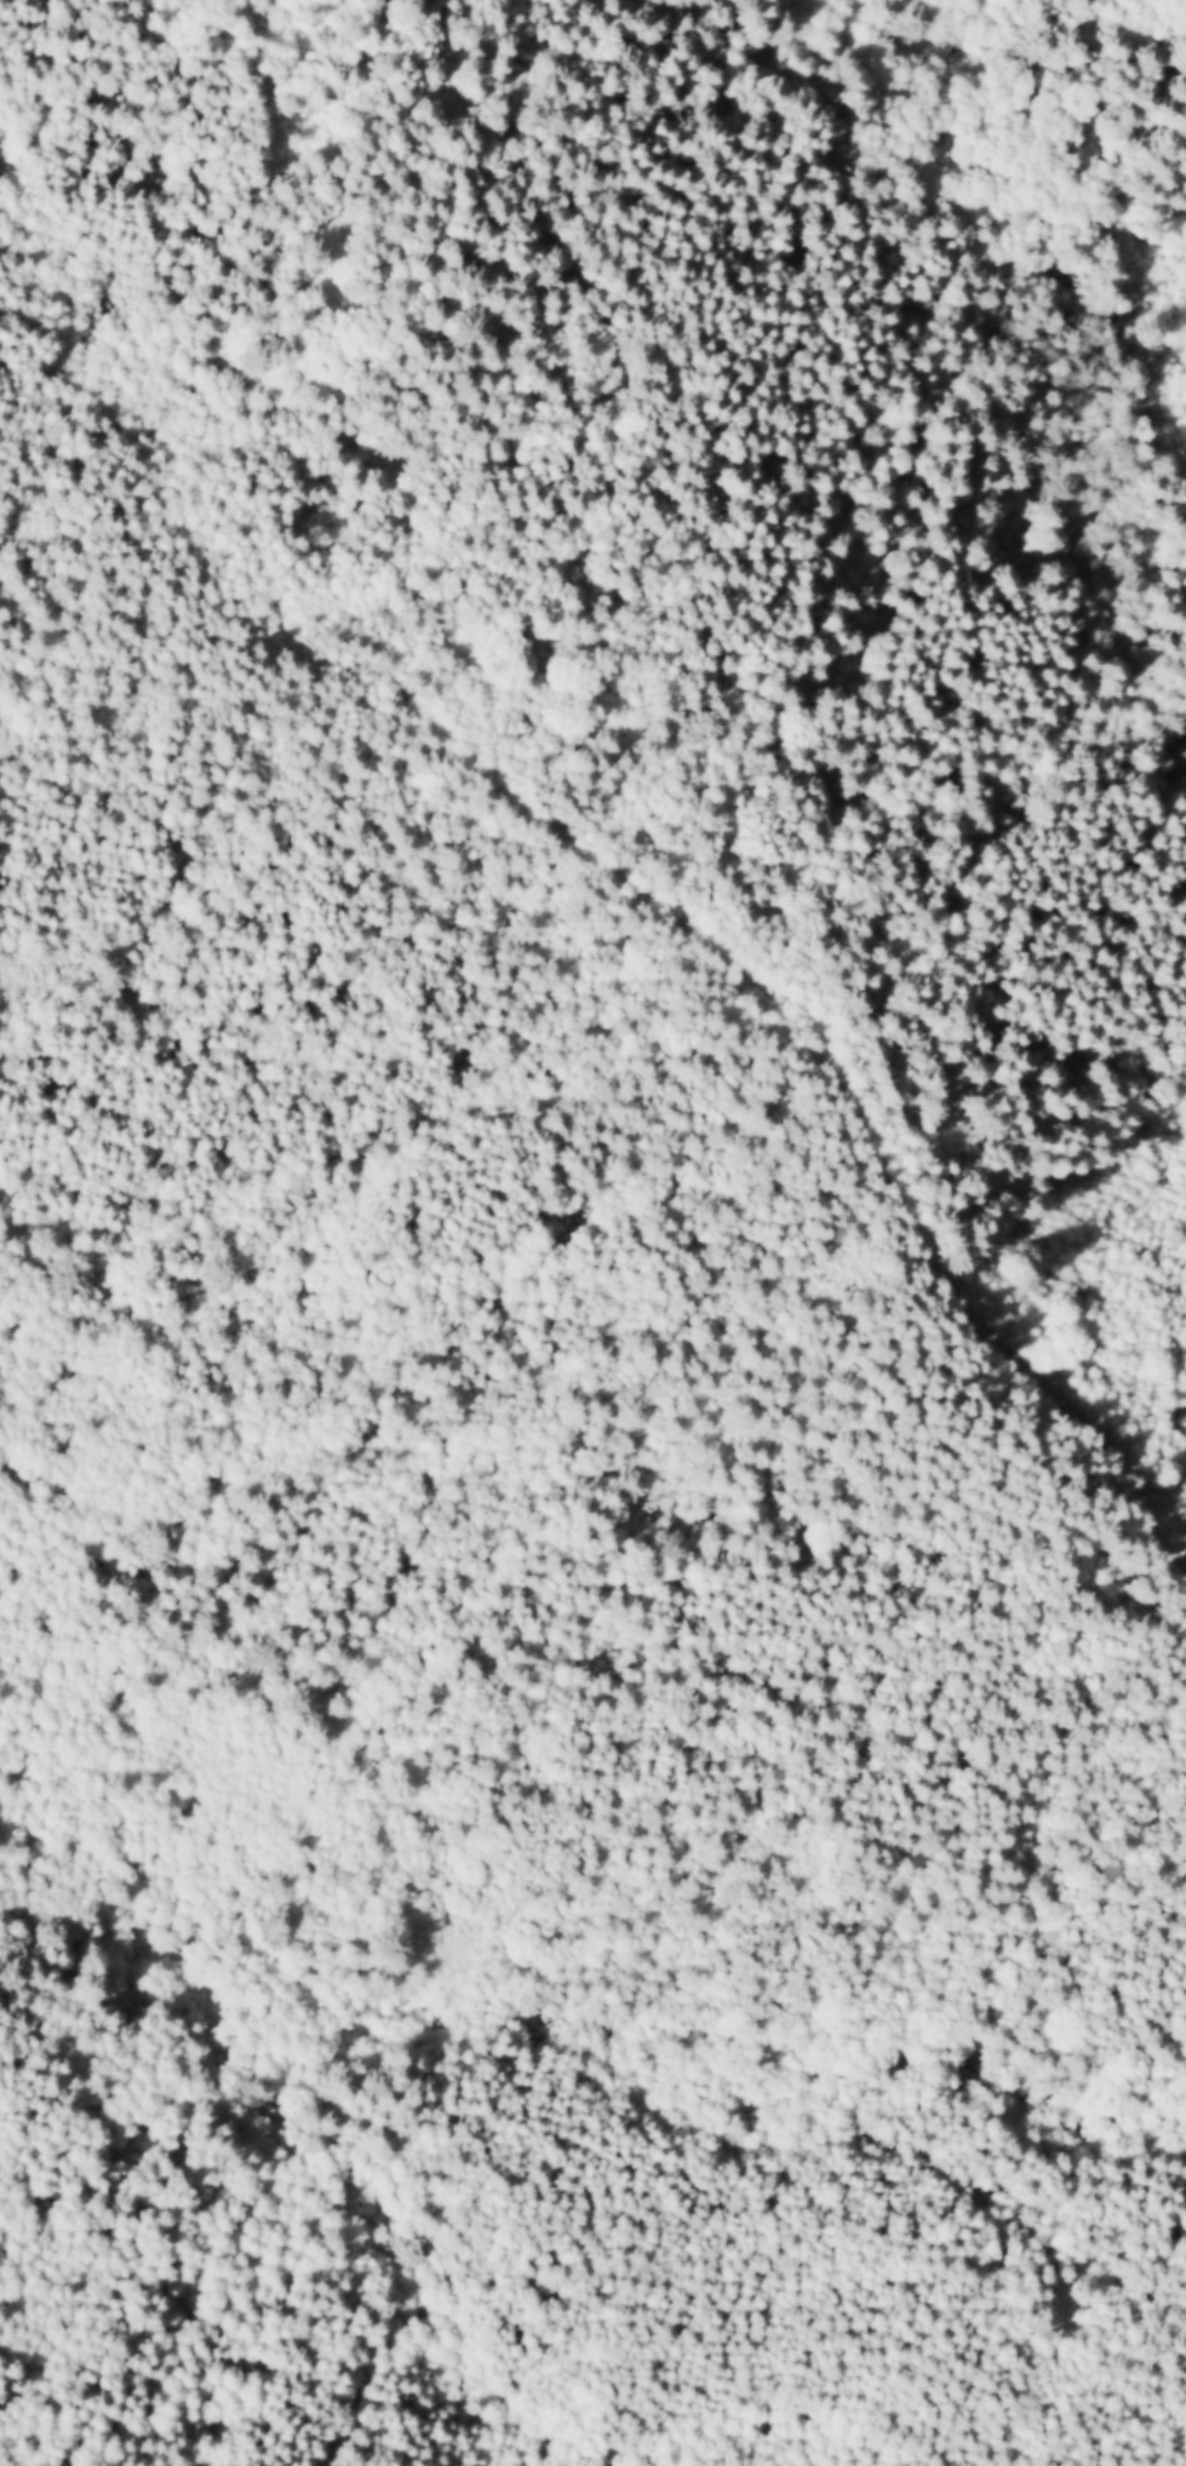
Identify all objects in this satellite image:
road: (819, 1027)

